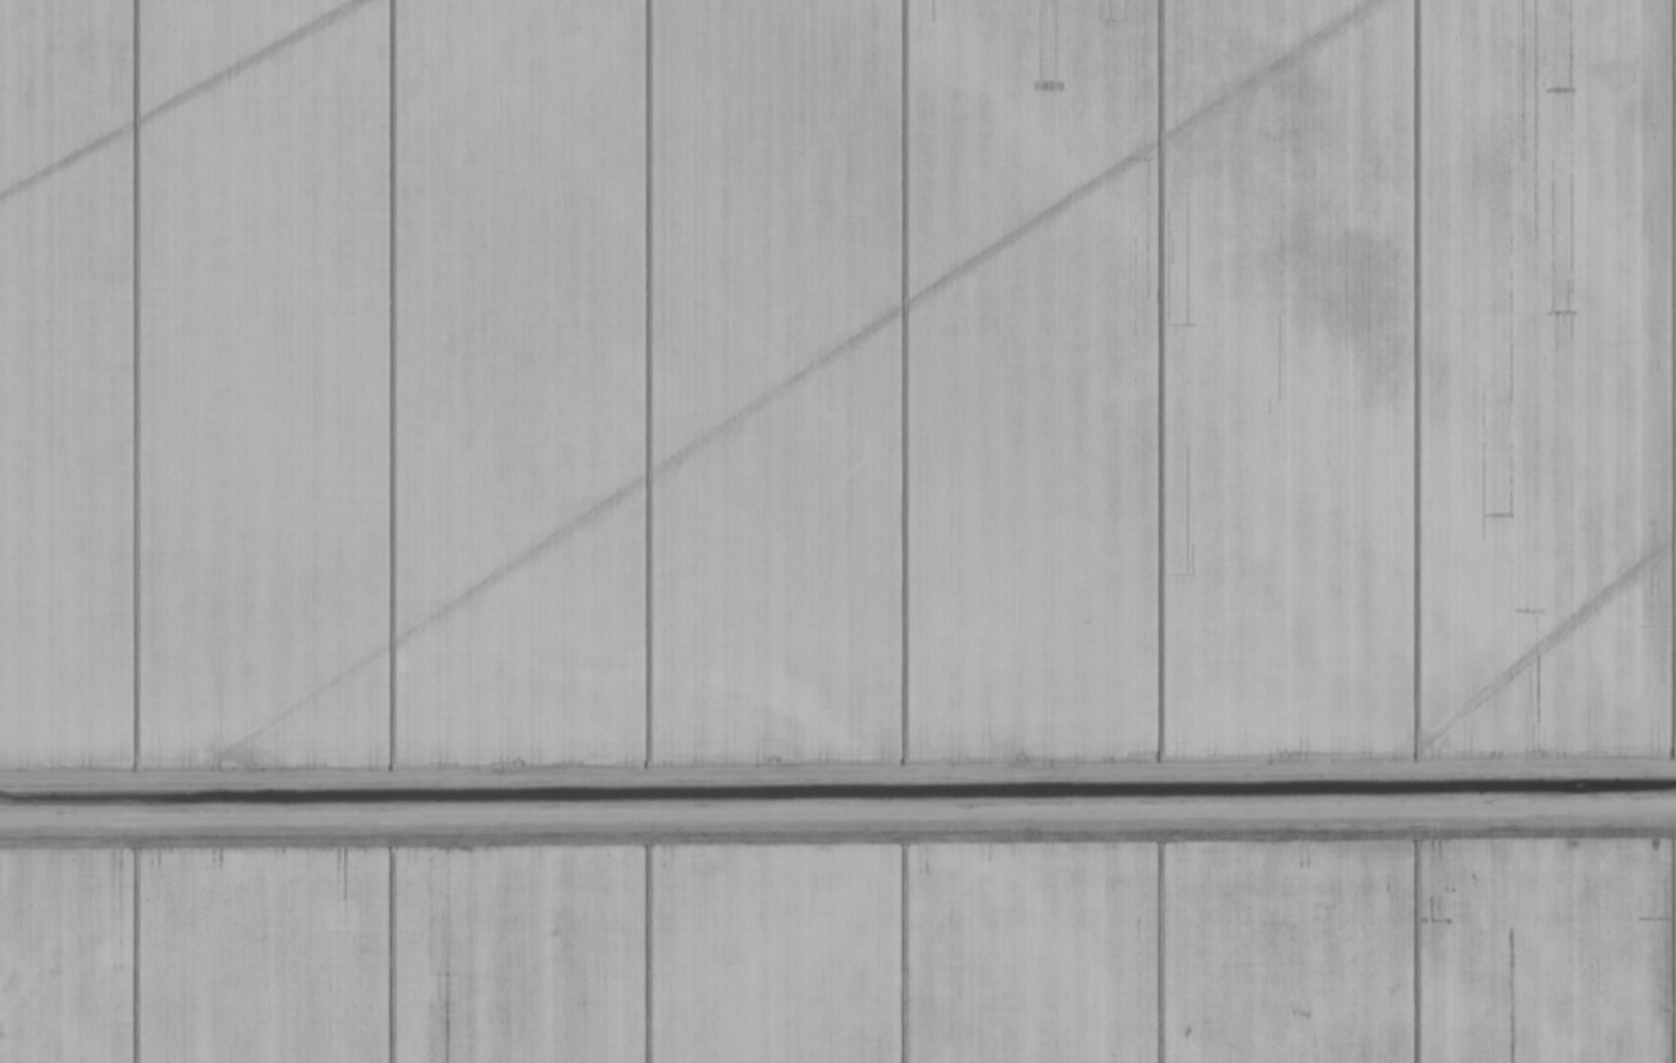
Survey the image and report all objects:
road: (838, 773)

